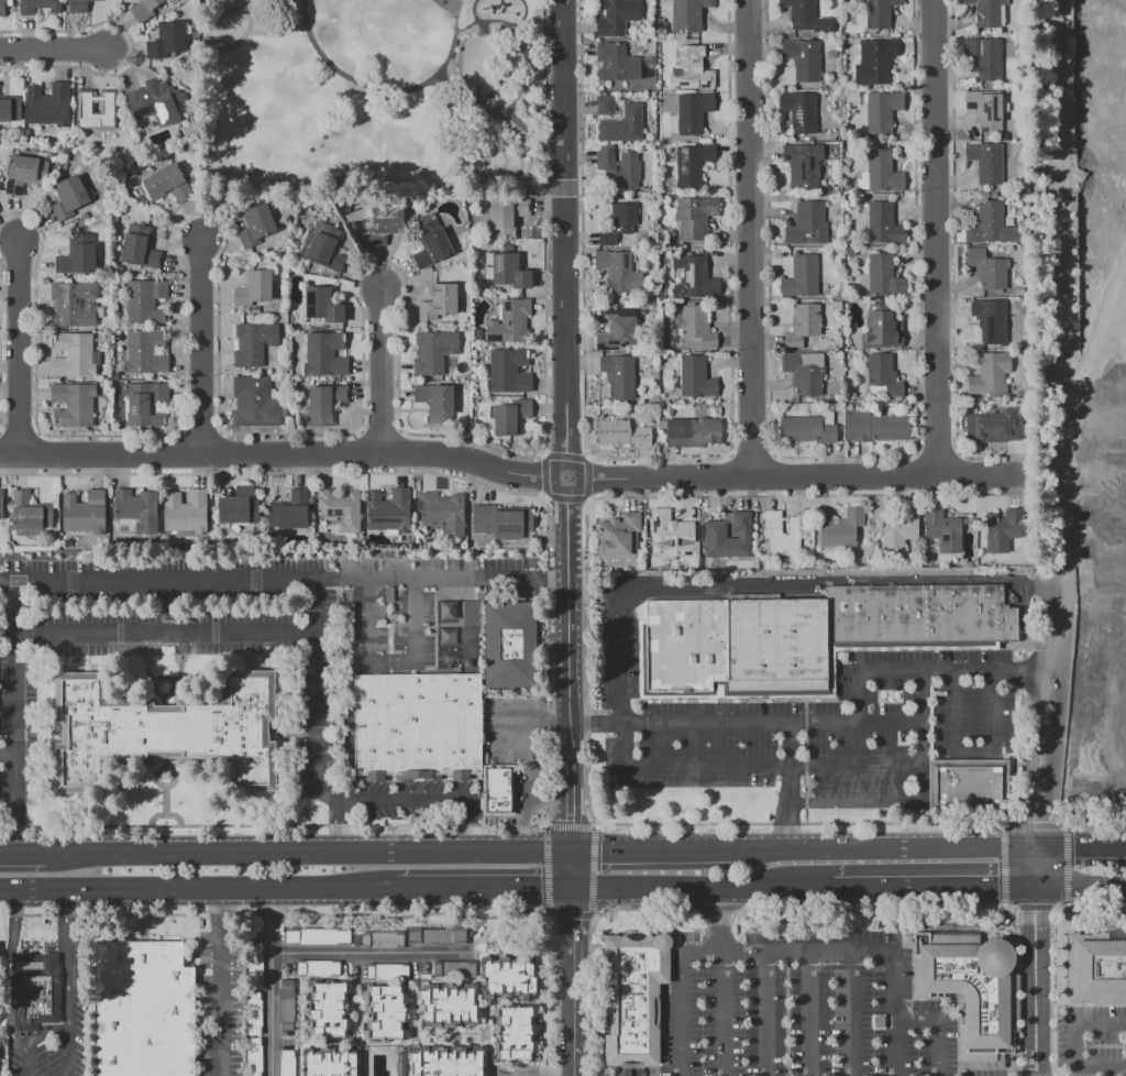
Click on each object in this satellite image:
building: (241, 0)
building: (272, 0)
building: (3, 6)
building: (38, 6)
building: (77, 7)
building: (144, 9)
road: (472, 10)
building: (987, 12)
building: (879, 13)
building: (688, 14)
building: (805, 15)
road: (523, 17)
building: (617, 17)
building: (167, 40)
road: (518, 44)
building: (1004, 46)
road: (54, 52)
building: (985, 57)
building: (803, 58)
building: (880, 61)
building: (616, 63)
building: (689, 68)
building: (169, 74)
building: (823, 85)
road: (385, 88)
building: (851, 98)
park: (371, 99)
building: (153, 103)
building: (48, 105)
building: (605, 106)
building: (1005, 107)
building: (10, 109)
building: (96, 109)
building: (882, 110)
building: (985, 110)
road: (497, 111)
building: (799, 111)
building: (689, 112)
building: (623, 124)
building: (32, 133)
building: (1005, 136)
building: (837, 139)
building: (985, 162)
building: (692, 165)
building: (804, 165)
building: (618, 167)
building: (24, 173)
building: (880, 173)
building: (167, 183)
building: (69, 197)
building: (695, 216)
building: (506, 217)
building: (1008, 221)
building: (385, 223)
building: (619, 223)
building: (807, 223)
building: (256, 224)
building: (883, 224)
building: (990, 224)
road: (565, 231)
road: (948, 238)
road: (761, 239)
building: (431, 244)
building: (140, 248)
building: (327, 249)
building: (850, 252)
building: (78, 255)
building: (837, 260)
building: (987, 268)
building: (121, 270)
building: (507, 271)
building: (619, 272)
building: (694, 276)
building: (802, 276)
building: (883, 276)
building: (253, 288)
building: (1018, 292)
building: (1011, 299)
building: (144, 300)
building: (439, 300)
building: (75, 304)
building: (322, 305)
building: (836, 305)
building: (263, 307)
building: (281, 308)
building: (990, 320)
building: (510, 322)
building: (803, 325)
building: (697, 327)
building: (882, 328)
building: (619, 329)
road: (1063, 336)
building: (253, 343)
road: (201, 351)
building: (433, 351)
road: (23, 352)
building: (144, 352)
building: (74, 354)
building: (325, 354)
building: (509, 371)
building: (804, 372)
road: (380, 373)
building: (990, 374)
building: (883, 375)
building: (619, 376)
building: (695, 377)
building: (255, 402)
building: (435, 402)
building: (146, 403)
building: (324, 403)
building: (74, 404)
building: (883, 404)
building: (848, 407)
building: (511, 416)
building: (808, 427)
building: (875, 427)
building: (993, 428)
building: (692, 431)
building: (621, 432)
building: (659, 437)
road: (11, 452)
road: (565, 454)
road: (288, 455)
road: (544, 475)
road: (805, 476)
road: (587, 479)
road: (554, 484)
road: (565, 498)
building: (1, 503)
building: (235, 506)
building: (340, 508)
building: (136, 510)
building: (186, 510)
building: (389, 510)
building: (30, 512)
building: (84, 512)
building: (290, 512)
building: (443, 513)
building: (503, 520)
building: (970, 520)
building: (840, 529)
building: (1002, 529)
building: (671, 530)
building: (897, 531)
building: (942, 531)
building: (873, 532)
building: (782, 534)
building: (727, 537)
building: (619, 540)
building: (153, 542)
building: (641, 566)
road: (283, 579)
road: (779, 581)
road: (164, 633)
building: (805, 635)
building: (509, 645)
road: (389, 663)
road: (566, 670)
road: (869, 671)
road: (1022, 671)
road: (527, 713)
road: (15, 715)
road: (313, 723)
road: (678, 723)
parking lot: (801, 723)
building: (417, 727)
road: (534, 728)
building: (163, 732)
road: (512, 743)
road: (974, 753)
road: (8, 755)
road: (799, 767)
road: (534, 770)
road: (1028, 777)
road: (1049, 779)
building: (969, 783)
road: (787, 786)
building: (497, 791)
road: (552, 798)
road: (428, 801)
road: (872, 803)
road: (519, 821)
traffic signals: (1025, 822)
road: (1075, 848)
traffic signals: (567, 849)
road: (650, 849)
road: (879, 849)
traffic signals: (1071, 849)
road: (307, 850)
road: (23, 852)
road: (1085, 887)
road: (920, 888)
traffic signals: (1001, 888)
road: (683, 891)
road: (200, 892)
road: (485, 893)
traffic signals: (570, 893)
traffic signals: (1047, 911)
building: (437, 935)
building: (317, 936)
building: (383, 938)
road: (374, 953)
road: (787, 955)
road: (68, 958)
road: (568, 962)
building: (255, 966)
building: (1096, 967)
building: (318, 968)
building: (454, 968)
building: (387, 973)
road: (11, 974)
building: (507, 977)
road: (1027, 981)
road: (1046, 981)
road: (721, 982)
road: (217, 985)
road: (274, 985)
building: (35, 990)
building: (972, 991)
building: (632, 996)
building: (288, 1004)
building: (451, 1007)
building: (328, 1009)
building: (143, 1010)
building: (389, 1012)
parking lot: (835, 1012)
road: (5, 1013)
building: (254, 1014)
road: (764, 1015)
road: (809, 1015)
road: (852, 1015)
road: (937, 1028)
road: (1077, 1029)
building: (515, 1033)
road: (34, 1041)
road: (69, 1051)
building: (253, 1056)
building: (328, 1062)
building: (446, 1062)
building: (287, 1063)
building: (399, 1064)
road: (1102, 1066)
building: (3, 1074)

